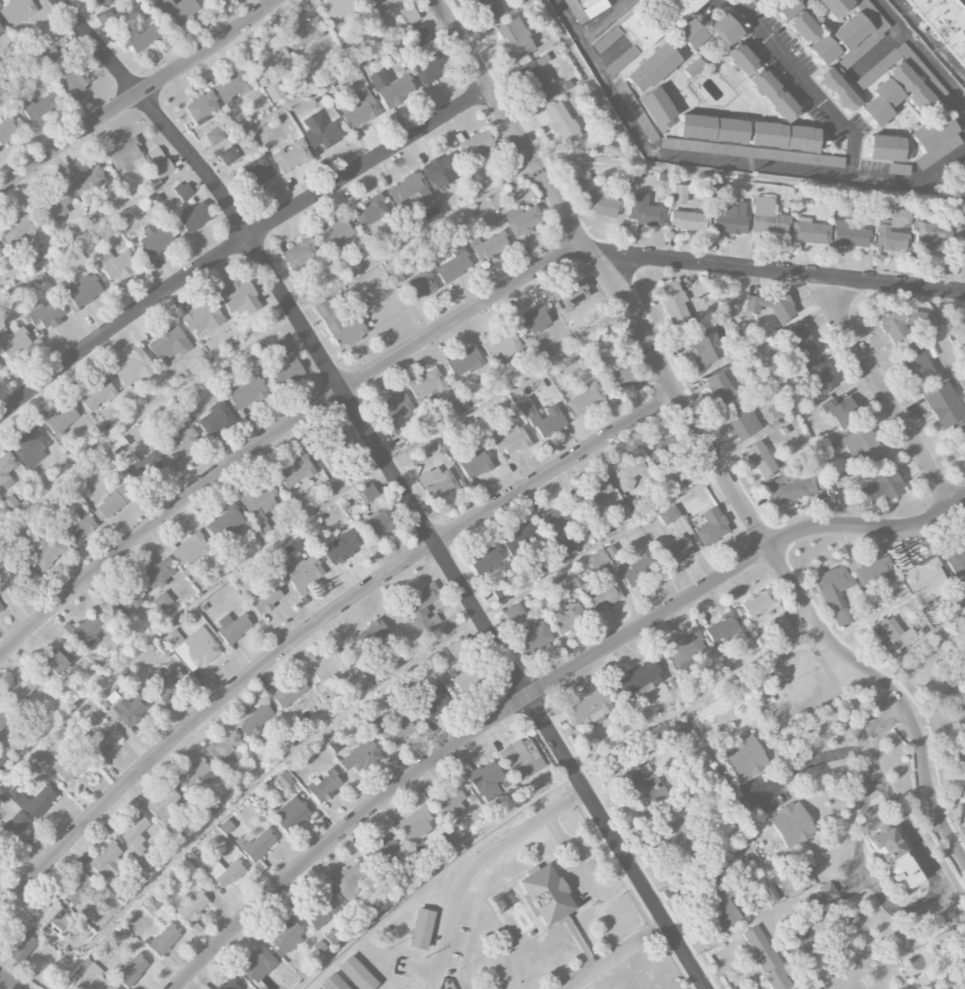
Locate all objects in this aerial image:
building: (370, 1)
building: (103, 2)
building: (584, 3)
road: (748, 6)
building: (834, 6)
building: (337, 8)
building: (487, 8)
building: (679, 8)
building: (177, 9)
building: (16, 11)
building: (407, 14)
road: (746, 14)
building: (106, 18)
road: (601, 18)
building: (945, 23)
building: (727, 27)
building: (638, 29)
building: (805, 29)
building: (0, 31)
building: (850, 31)
building: (690, 33)
building: (302, 34)
building: (138, 35)
building: (420, 37)
road: (890, 38)
building: (514, 39)
building: (607, 39)
building: (854, 54)
building: (51, 58)
building: (742, 58)
building: (271, 60)
building: (621, 60)
road: (933, 63)
building: (694, 67)
building: (430, 68)
building: (652, 68)
building: (73, 81)
building: (535, 81)
building: (933, 85)
building: (231, 86)
building: (838, 87)
building: (391, 88)
building: (912, 88)
building: (274, 92)
road: (137, 94)
building: (774, 94)
building: (880, 102)
building: (41, 106)
building: (202, 106)
building: (656, 108)
building: (360, 109)
building: (636, 112)
building: (558, 122)
building: (8, 128)
building: (712, 129)
building: (321, 131)
building: (931, 131)
building: (214, 136)
building: (785, 137)
building: (477, 145)
road: (855, 148)
building: (887, 148)
building: (938, 152)
road: (662, 153)
building: (127, 156)
building: (228, 156)
building: (291, 156)
building: (898, 169)
building: (161, 170)
building: (441, 170)
building: (258, 171)
building: (85, 179)
building: (410, 188)
building: (182, 191)
building: (679, 194)
building: (597, 198)
building: (57, 205)
building: (371, 211)
building: (193, 217)
building: (729, 218)
building: (899, 218)
building: (522, 219)
building: (766, 219)
building: (688, 220)
building: (19, 230)
building: (809, 231)
building: (336, 234)
building: (849, 234)
building: (890, 239)
building: (931, 239)
building: (154, 240)
building: (960, 242)
road: (239, 243)
building: (488, 246)
building: (0, 251)
building: (300, 256)
building: (114, 263)
building: (452, 263)
building: (418, 286)
building: (83, 291)
building: (571, 295)
building: (239, 298)
building: (675, 305)
building: (772, 306)
building: (45, 314)
building: (203, 318)
building: (340, 319)
building: (533, 320)
building: (903, 323)
road: (440, 329)
building: (13, 342)
building: (169, 344)
building: (501, 344)
building: (703, 346)
building: (284, 361)
building: (465, 361)
building: (917, 364)
building: (134, 368)
building: (0, 370)
building: (819, 375)
building: (622, 377)
building: (426, 385)
building: (720, 387)
building: (247, 392)
building: (97, 394)
road: (884, 397)
building: (585, 399)
building: (943, 405)
building: (840, 410)
building: (392, 411)
building: (62, 418)
building: (215, 418)
building: (542, 419)
building: (741, 420)
road: (702, 435)
building: (408, 436)
building: (961, 439)
building: (510, 440)
building: (179, 444)
building: (858, 446)
building: (30, 447)
building: (665, 448)
building: (325, 453)
building: (761, 459)
building: (474, 463)
building: (149, 465)
building: (629, 470)
building: (6, 471)
building: (295, 472)
building: (686, 477)
road: (398, 483)
building: (437, 483)
building: (788, 486)
building: (881, 487)
building: (368, 492)
building: (595, 492)
building: (260, 496)
building: (115, 499)
building: (10, 504)
building: (256, 514)
building: (668, 514)
building: (227, 520)
building: (556, 520)
building: (380, 522)
building: (76, 525)
building: (711, 526)
building: (520, 538)
building: (341, 546)
building: (189, 549)
building: (565, 550)
building: (46, 551)
building: (677, 551)
building: (597, 559)
building: (485, 561)
building: (956, 561)
building: (640, 569)
building: (299, 570)
building: (869, 570)
building: (157, 572)
building: (16, 577)
building: (560, 582)
building: (500, 591)
building: (835, 593)
building: (603, 595)
building: (123, 598)
building: (265, 598)
building: (162, 601)
building: (1, 607)
building: (422, 608)
building: (513, 612)
building: (566, 617)
road: (315, 625)
building: (232, 628)
building: (723, 628)
building: (85, 631)
building: (889, 635)
building: (369, 637)
building: (534, 637)
road: (922, 642)
building: (161, 647)
building: (192, 647)
building: (459, 647)
building: (687, 649)
building: (55, 659)
building: (328, 667)
building: (639, 677)
building: (466, 678)
building: (163, 681)
building: (358, 681)
building: (797, 682)
road: (541, 688)
building: (19, 689)
water tower: (787, 690)
building: (289, 692)
building: (433, 702)
building: (130, 707)
building: (588, 708)
building: (4, 718)
building: (257, 719)
building: (397, 732)
building: (104, 741)
building: (686, 742)
building: (225, 748)
building: (360, 757)
building: (745, 757)
building: (38, 758)
building: (521, 759)
road: (805, 762)
building: (68, 768)
building: (194, 777)
building: (283, 780)
building: (485, 780)
building: (324, 786)
building: (643, 788)
road: (547, 789)
building: (449, 799)
building: (36, 800)
building: (165, 807)
building: (290, 814)
building: (415, 824)
building: (791, 825)
building: (226, 826)
building: (12, 829)
building: (136, 839)
building: (683, 841)
building: (256, 847)
building: (382, 851)
road: (484, 857)
building: (894, 857)
building: (106, 861)
building: (194, 862)
building: (811, 863)
building: (225, 873)
road: (582, 873)
building: (346, 879)
road: (940, 885)
building: (77, 889)
building: (552, 891)
building: (823, 894)
building: (149, 903)
building: (719, 903)
road: (830, 904)
building: (191, 906)
building: (322, 911)
building: (50, 919)
building: (426, 925)
building: (117, 933)
building: (286, 936)
building: (162, 940)
building: (22, 947)
building: (319, 947)
road: (615, 954)
building: (765, 958)
building: (257, 964)
building: (132, 970)
building: (362, 971)
road: (938, 973)
building: (340, 981)
building: (229, 984)
road: (4, 986)
building: (112, 988)
building: (316, 988)

